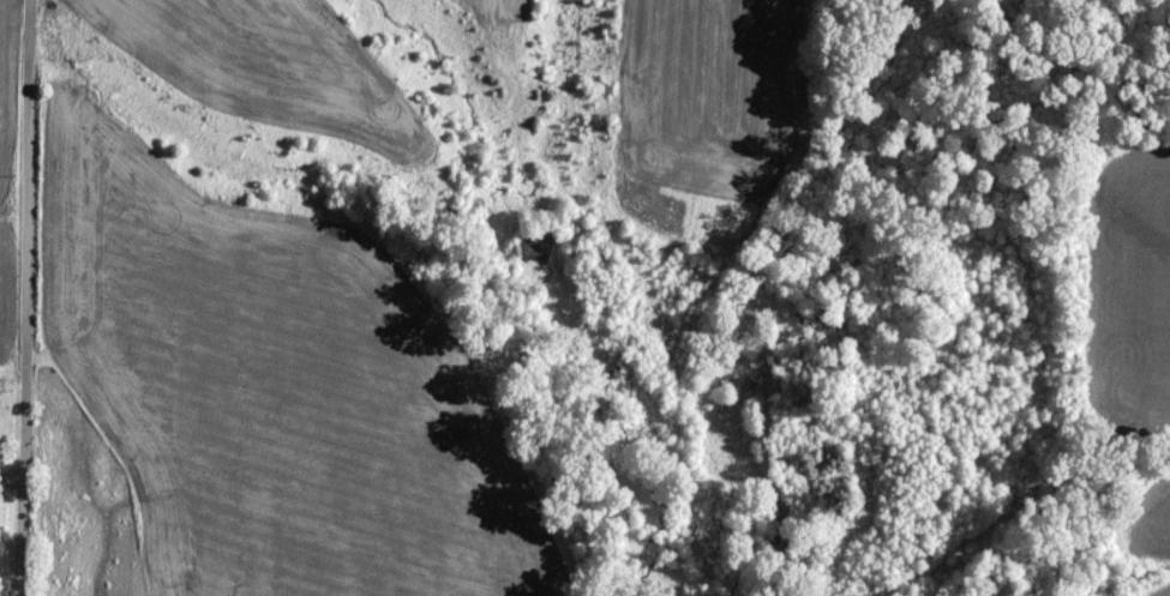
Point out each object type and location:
road: (22, 297)

